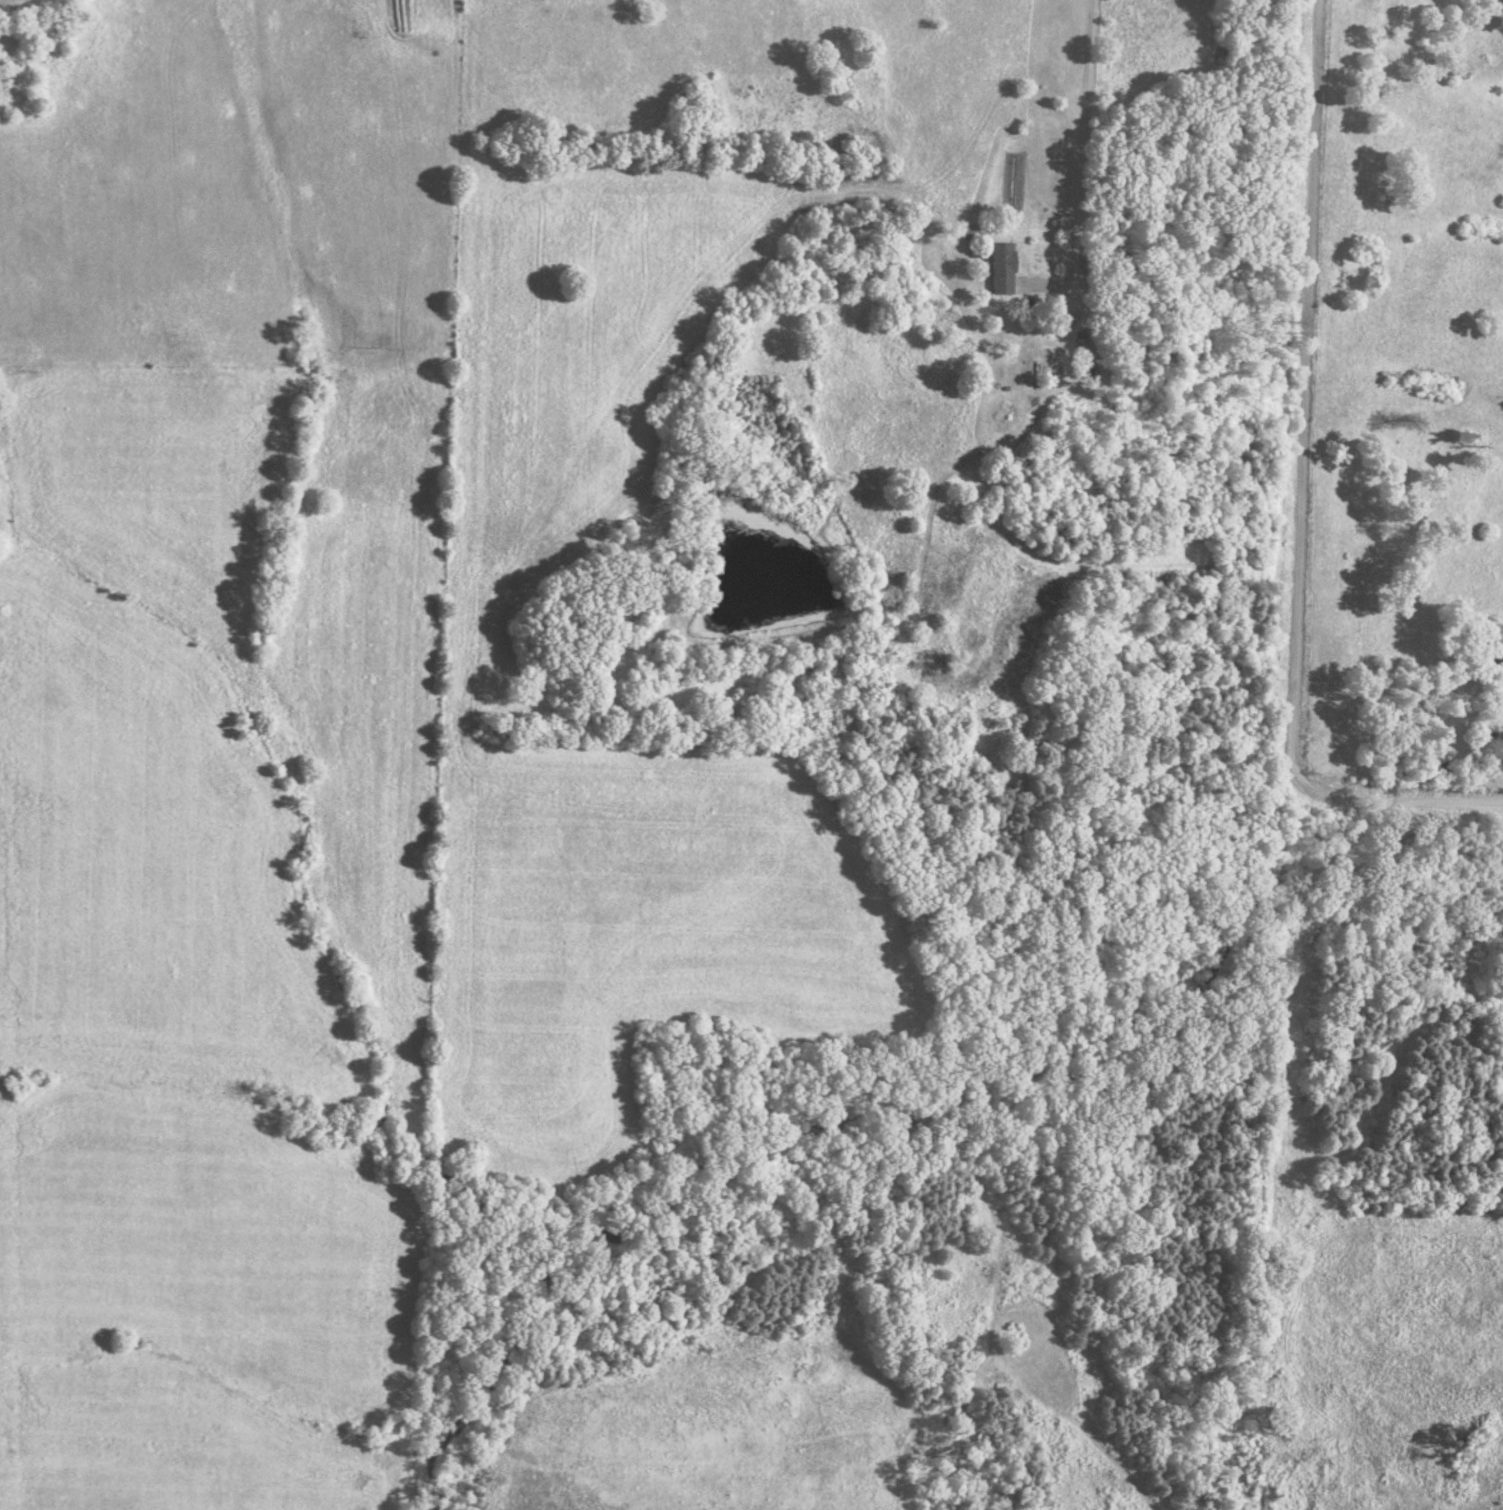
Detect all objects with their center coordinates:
road: (20, 3)
road: (1086, 161)
building: (1003, 268)
road: (1310, 493)
building: (1380, 1042)

